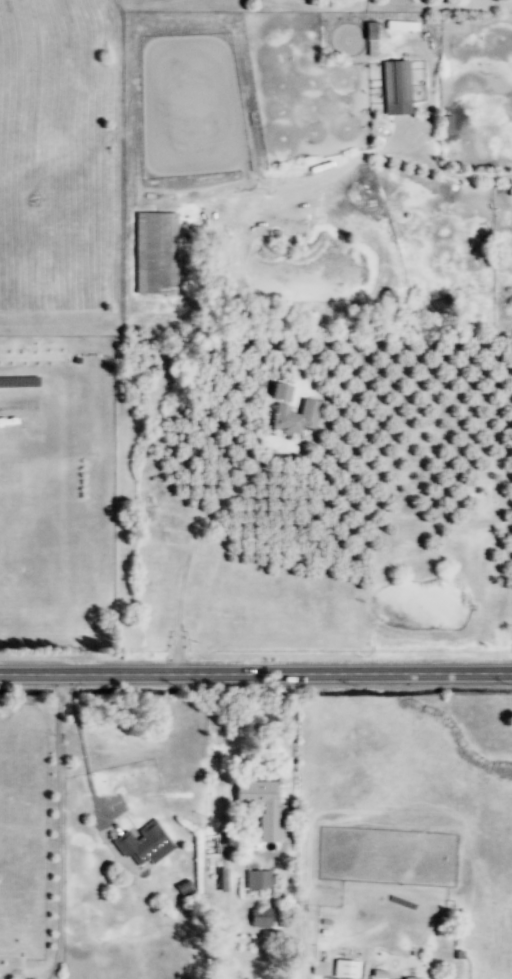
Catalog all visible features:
building: (401, 25)
building: (370, 32)
building: (396, 88)
road: (453, 173)
building: (280, 392)
building: (297, 417)
road: (187, 559)
road: (256, 675)
road: (232, 744)
road: (292, 749)
building: (261, 805)
road: (59, 827)
building: (143, 844)
building: (222, 880)
building: (258, 880)
building: (183, 888)
building: (260, 918)
building: (318, 968)
building: (346, 969)

